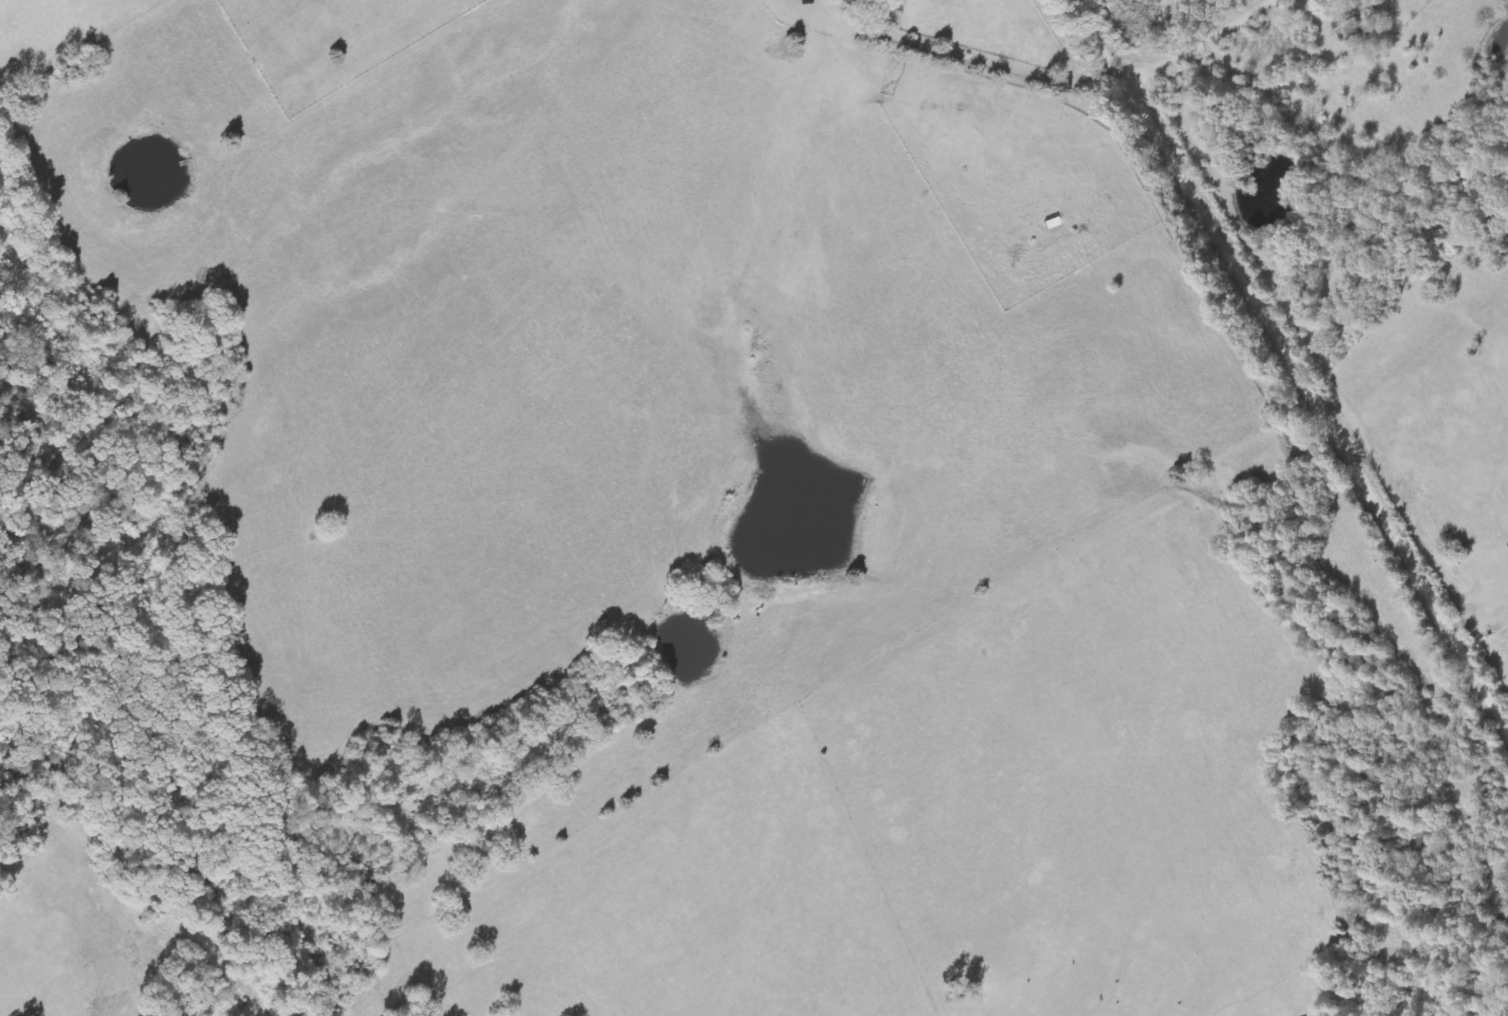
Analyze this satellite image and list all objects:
building: (853, 0)
building: (1347, 26)
road: (1197, 41)
road: (1290, 366)

